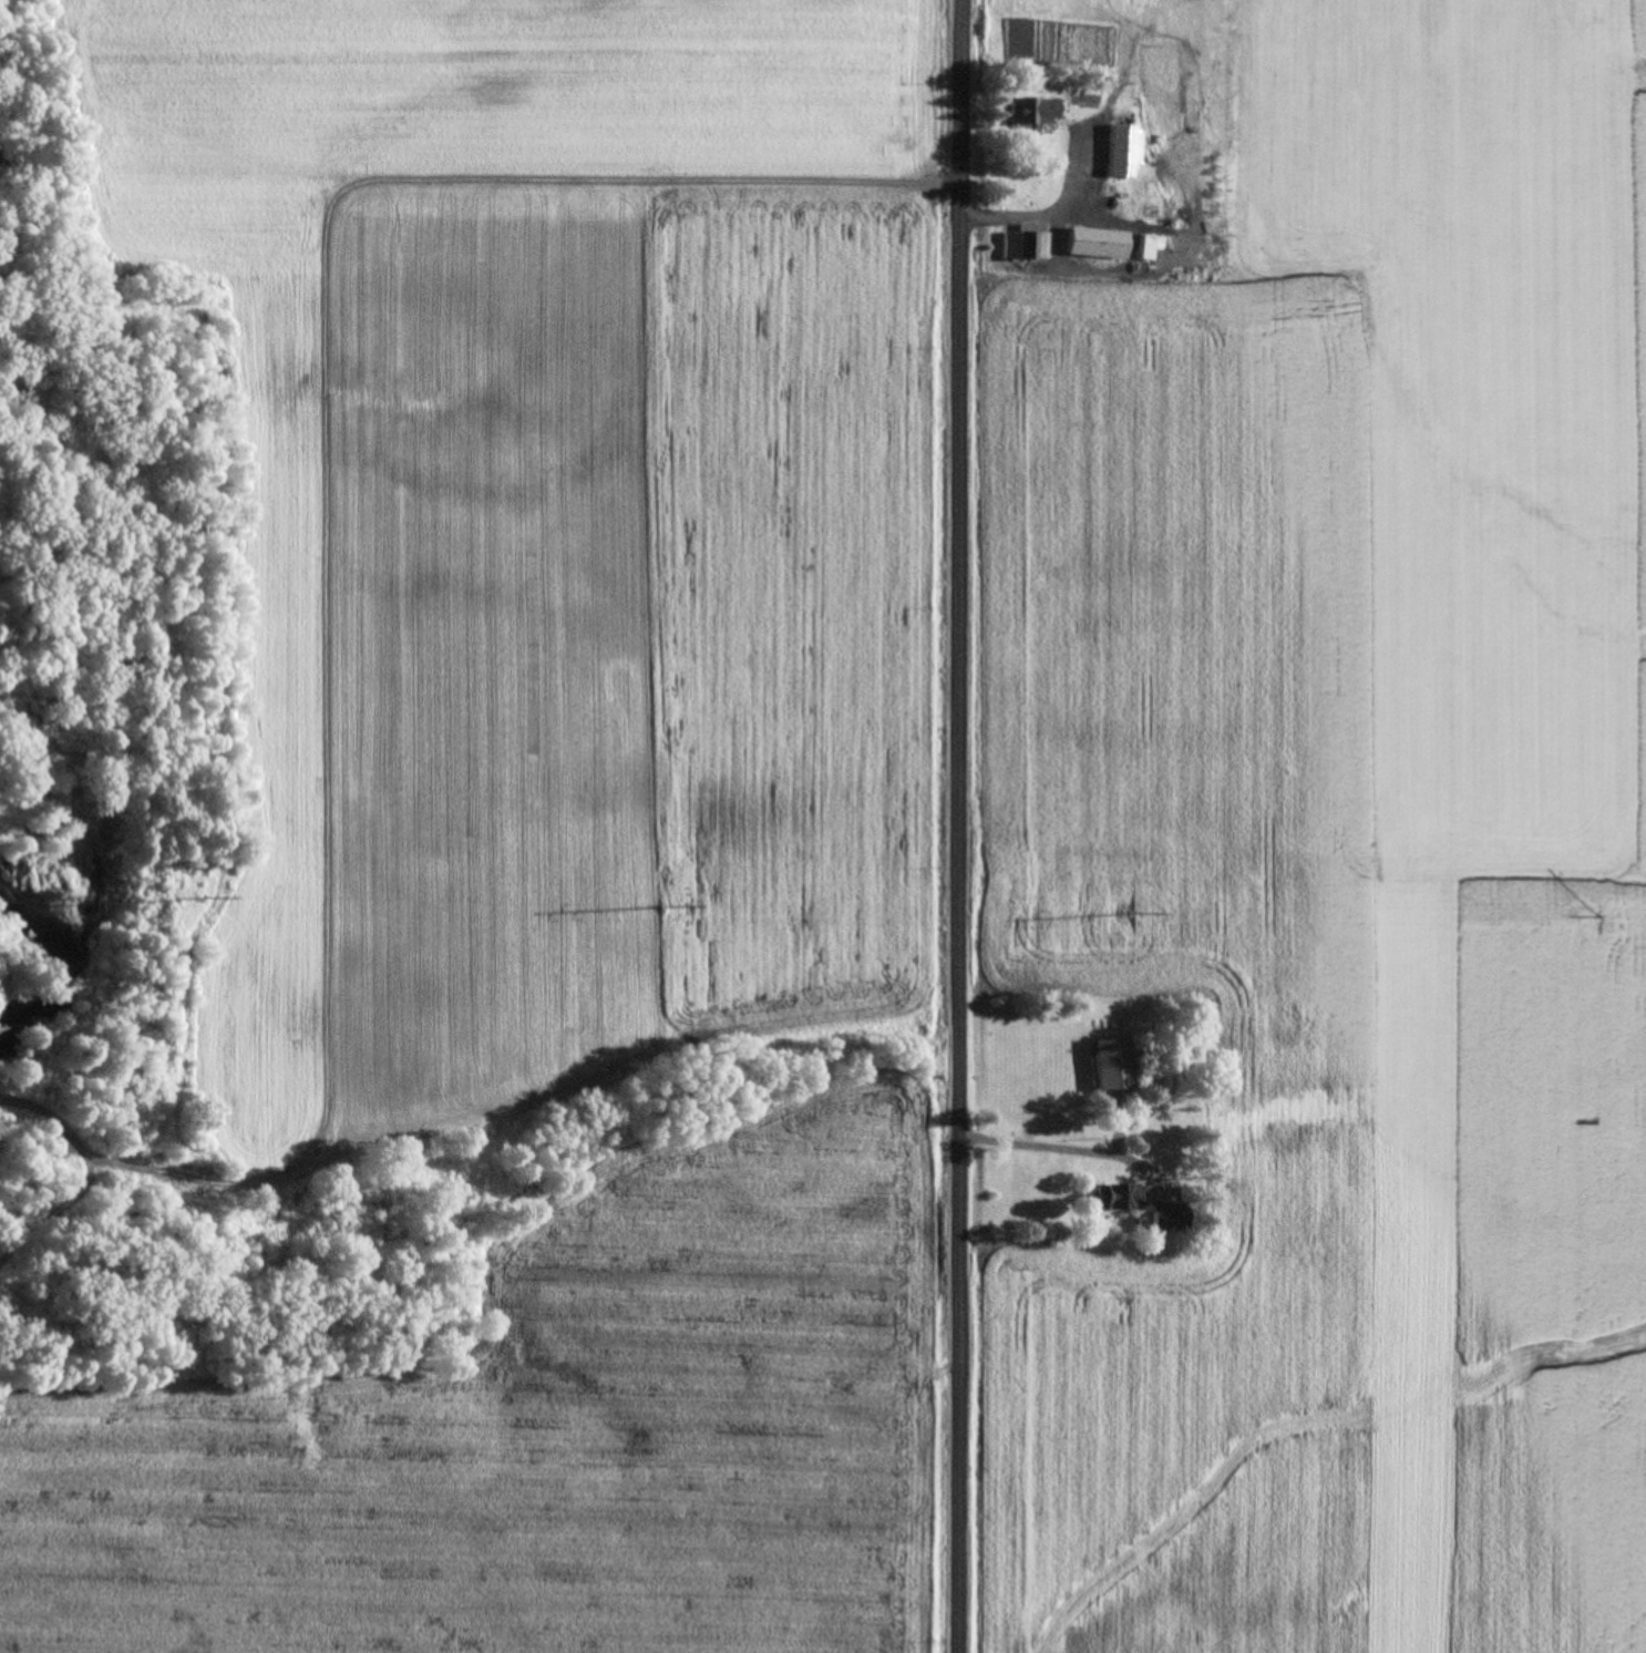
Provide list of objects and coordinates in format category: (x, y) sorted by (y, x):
building: (1083, 97)
building: (1033, 110)
road: (1053, 209)
building: (1097, 243)
building: (1025, 245)
building: (1146, 247)
road: (959, 826)
river: (112, 930)
building: (1112, 1065)
road: (1058, 1147)
building: (1117, 1197)
building: (1169, 1218)

